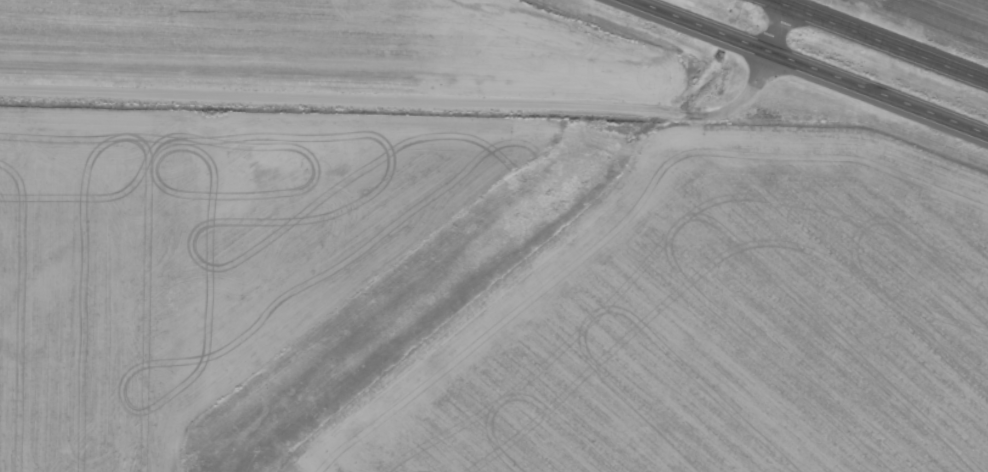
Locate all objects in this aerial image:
road: (879, 41)
road: (798, 71)
road: (424, 98)

